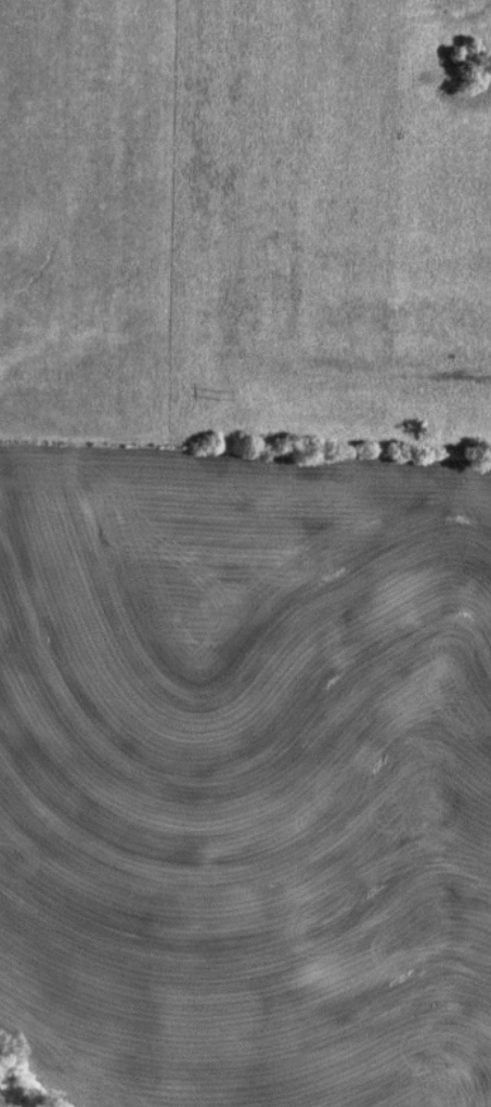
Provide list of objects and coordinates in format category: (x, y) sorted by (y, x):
power tower: (219, 395)

